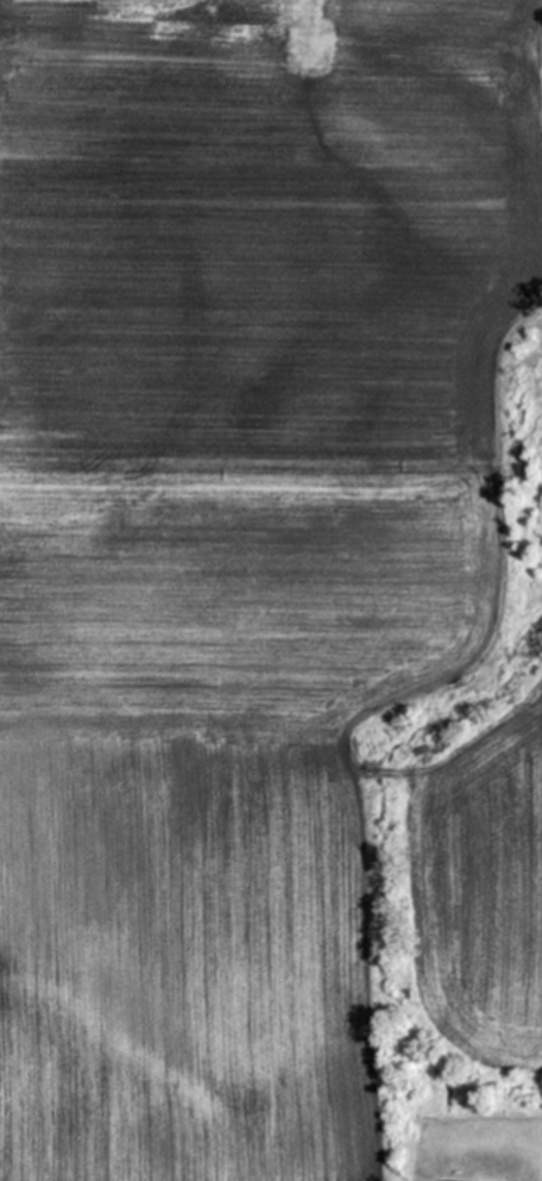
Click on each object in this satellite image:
building: (460, 1174)

